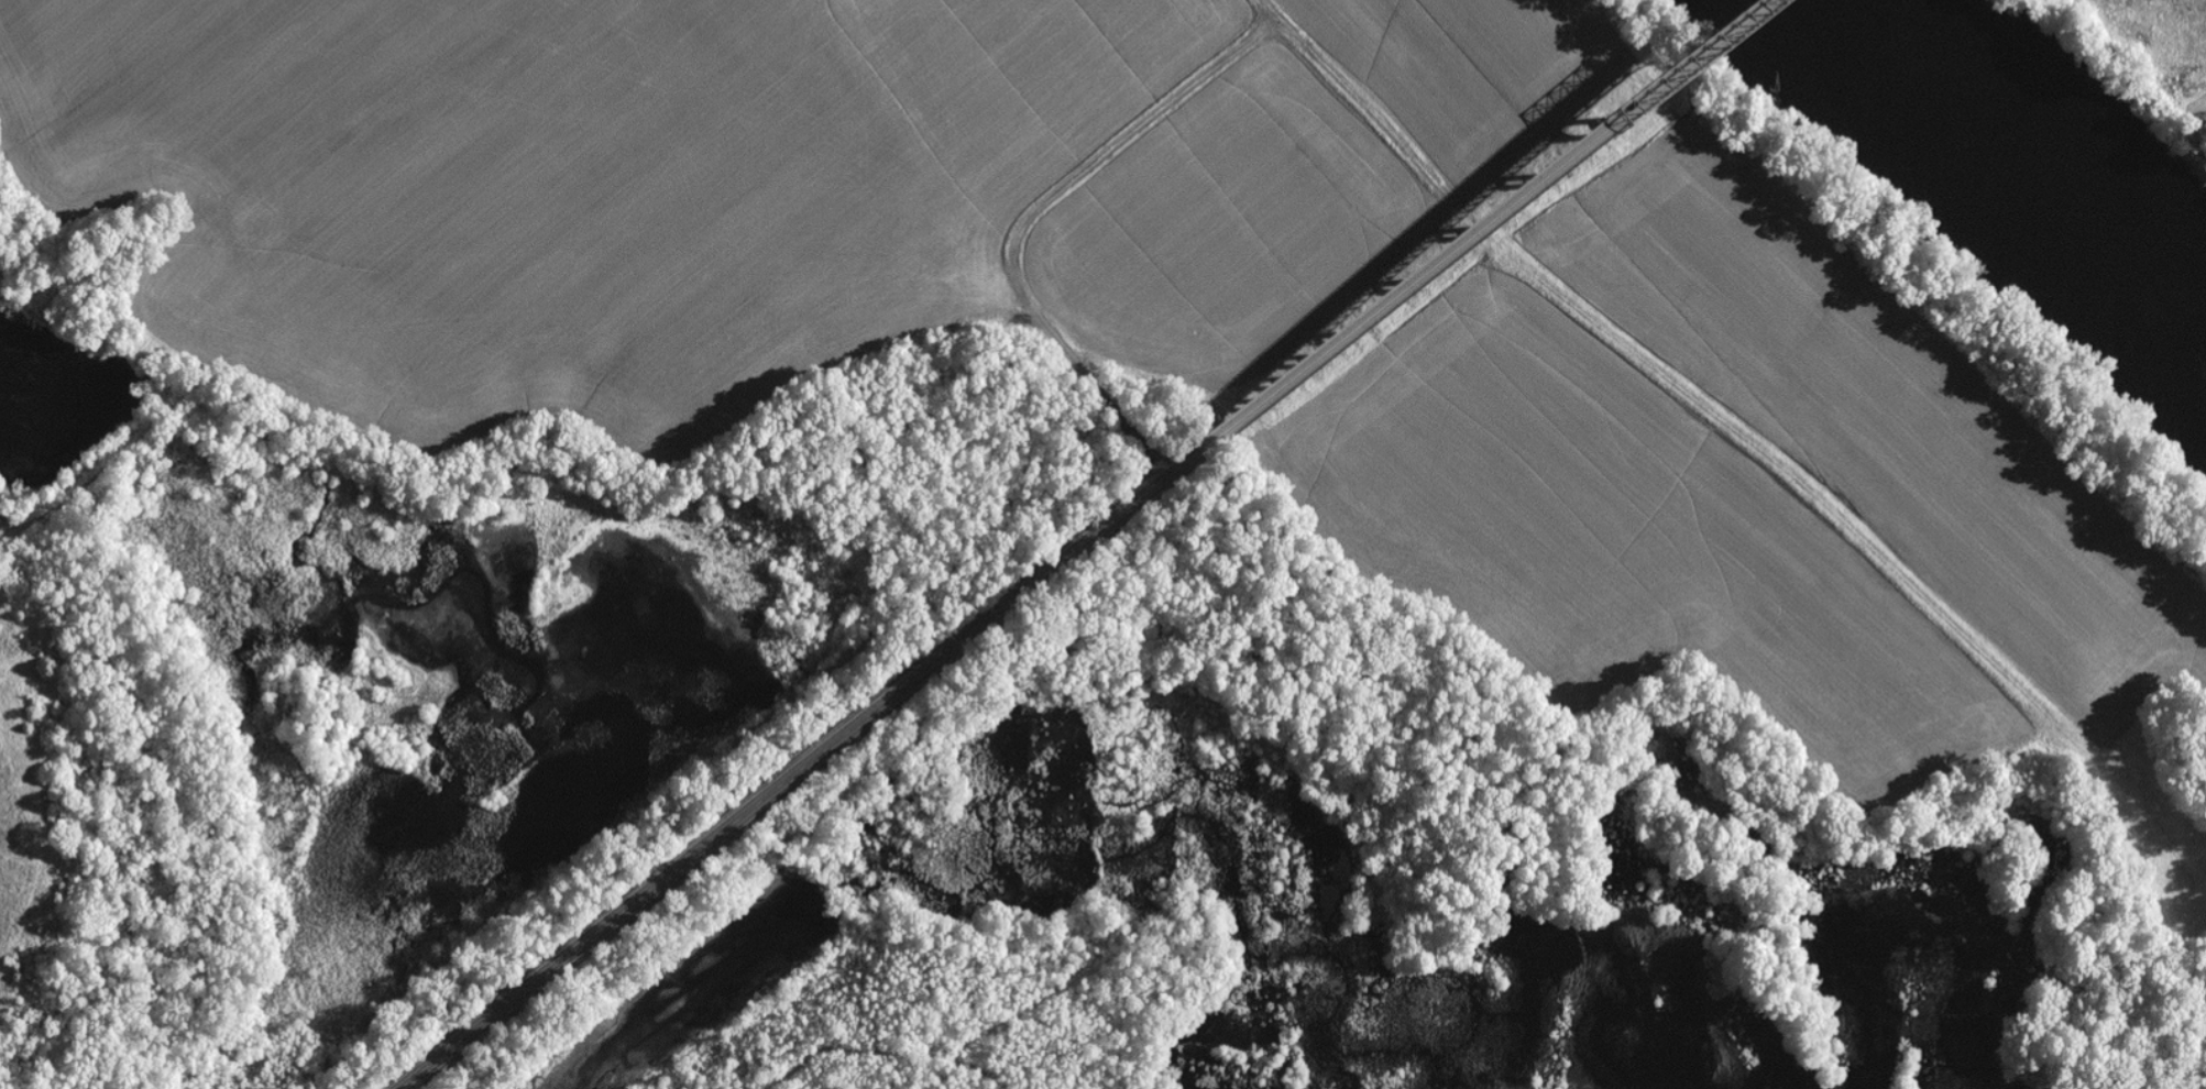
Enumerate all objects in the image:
river: (2019, 180)
road: (1481, 227)
road: (961, 241)
road: (797, 770)

